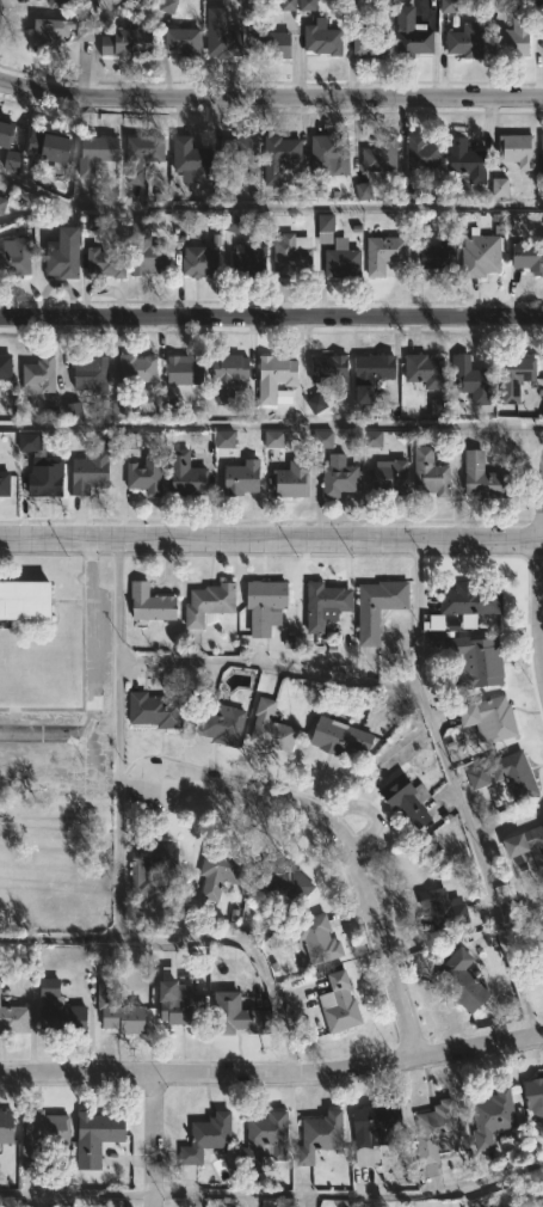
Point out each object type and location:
building: (62, 2)
building: (286, 5)
building: (167, 6)
building: (446, 6)
building: (492, 6)
building: (51, 33)
building: (413, 33)
building: (209, 37)
building: (323, 37)
building: (511, 37)
building: (468, 39)
building: (541, 39)
building: (130, 42)
building: (372, 44)
building: (276, 45)
road: (271, 93)
building: (7, 133)
building: (51, 147)
building: (241, 148)
building: (514, 148)
building: (100, 152)
building: (332, 153)
building: (425, 153)
building: (382, 154)
building: (541, 154)
building: (144, 155)
building: (280, 157)
building: (193, 160)
building: (11, 161)
building: (467, 161)
building: (499, 186)
building: (363, 191)
building: (2, 203)
building: (92, 221)
building: (184, 222)
building: (323, 228)
building: (149, 251)
building: (385, 253)
building: (66, 255)
building: (292, 255)
building: (437, 255)
building: (480, 255)
building: (529, 256)
building: (251, 257)
building: (16, 258)
building: (343, 259)
building: (202, 262)
building: (106, 263)
road: (271, 318)
building: (6, 367)
building: (138, 368)
building: (186, 370)
building: (332, 370)
building: (426, 370)
building: (93, 374)
building: (374, 374)
building: (41, 375)
building: (514, 375)
building: (232, 376)
building: (277, 376)
building: (474, 379)
building: (315, 404)
building: (436, 409)
building: (74, 410)
building: (119, 411)
road: (271, 425)
building: (272, 439)
building: (321, 439)
building: (371, 439)
building: (223, 440)
building: (142, 465)
building: (44, 468)
building: (91, 472)
building: (433, 472)
building: (187, 474)
building: (341, 476)
building: (243, 478)
building: (393, 478)
building: (488, 478)
building: (294, 479)
building: (8, 484)
road: (542, 532)
road: (271, 541)
building: (25, 600)
building: (471, 600)
building: (152, 603)
building: (266, 603)
building: (210, 605)
building: (328, 605)
road: (539, 606)
building: (381, 607)
road: (420, 613)
road: (86, 641)
building: (479, 657)
road: (269, 662)
building: (156, 711)
building: (492, 718)
building: (223, 723)
building: (272, 729)
road: (35, 734)
road: (115, 739)
building: (340, 739)
building: (508, 776)
building: (409, 802)
building: (525, 844)
road: (354, 853)
road: (485, 860)
building: (153, 863)
building: (220, 872)
building: (285, 877)
building: (442, 911)
road: (198, 935)
building: (320, 941)
building: (464, 982)
building: (180, 1000)
building: (341, 1005)
building: (60, 1007)
building: (121, 1012)
building: (236, 1015)
building: (14, 1018)
road: (272, 1077)
building: (535, 1093)
building: (489, 1116)
building: (377, 1122)
building: (7, 1126)
building: (437, 1133)
building: (322, 1134)
building: (98, 1135)
building: (42, 1136)
building: (266, 1136)
road: (152, 1141)
building: (205, 1141)
road: (273, 1193)
building: (537, 1202)

